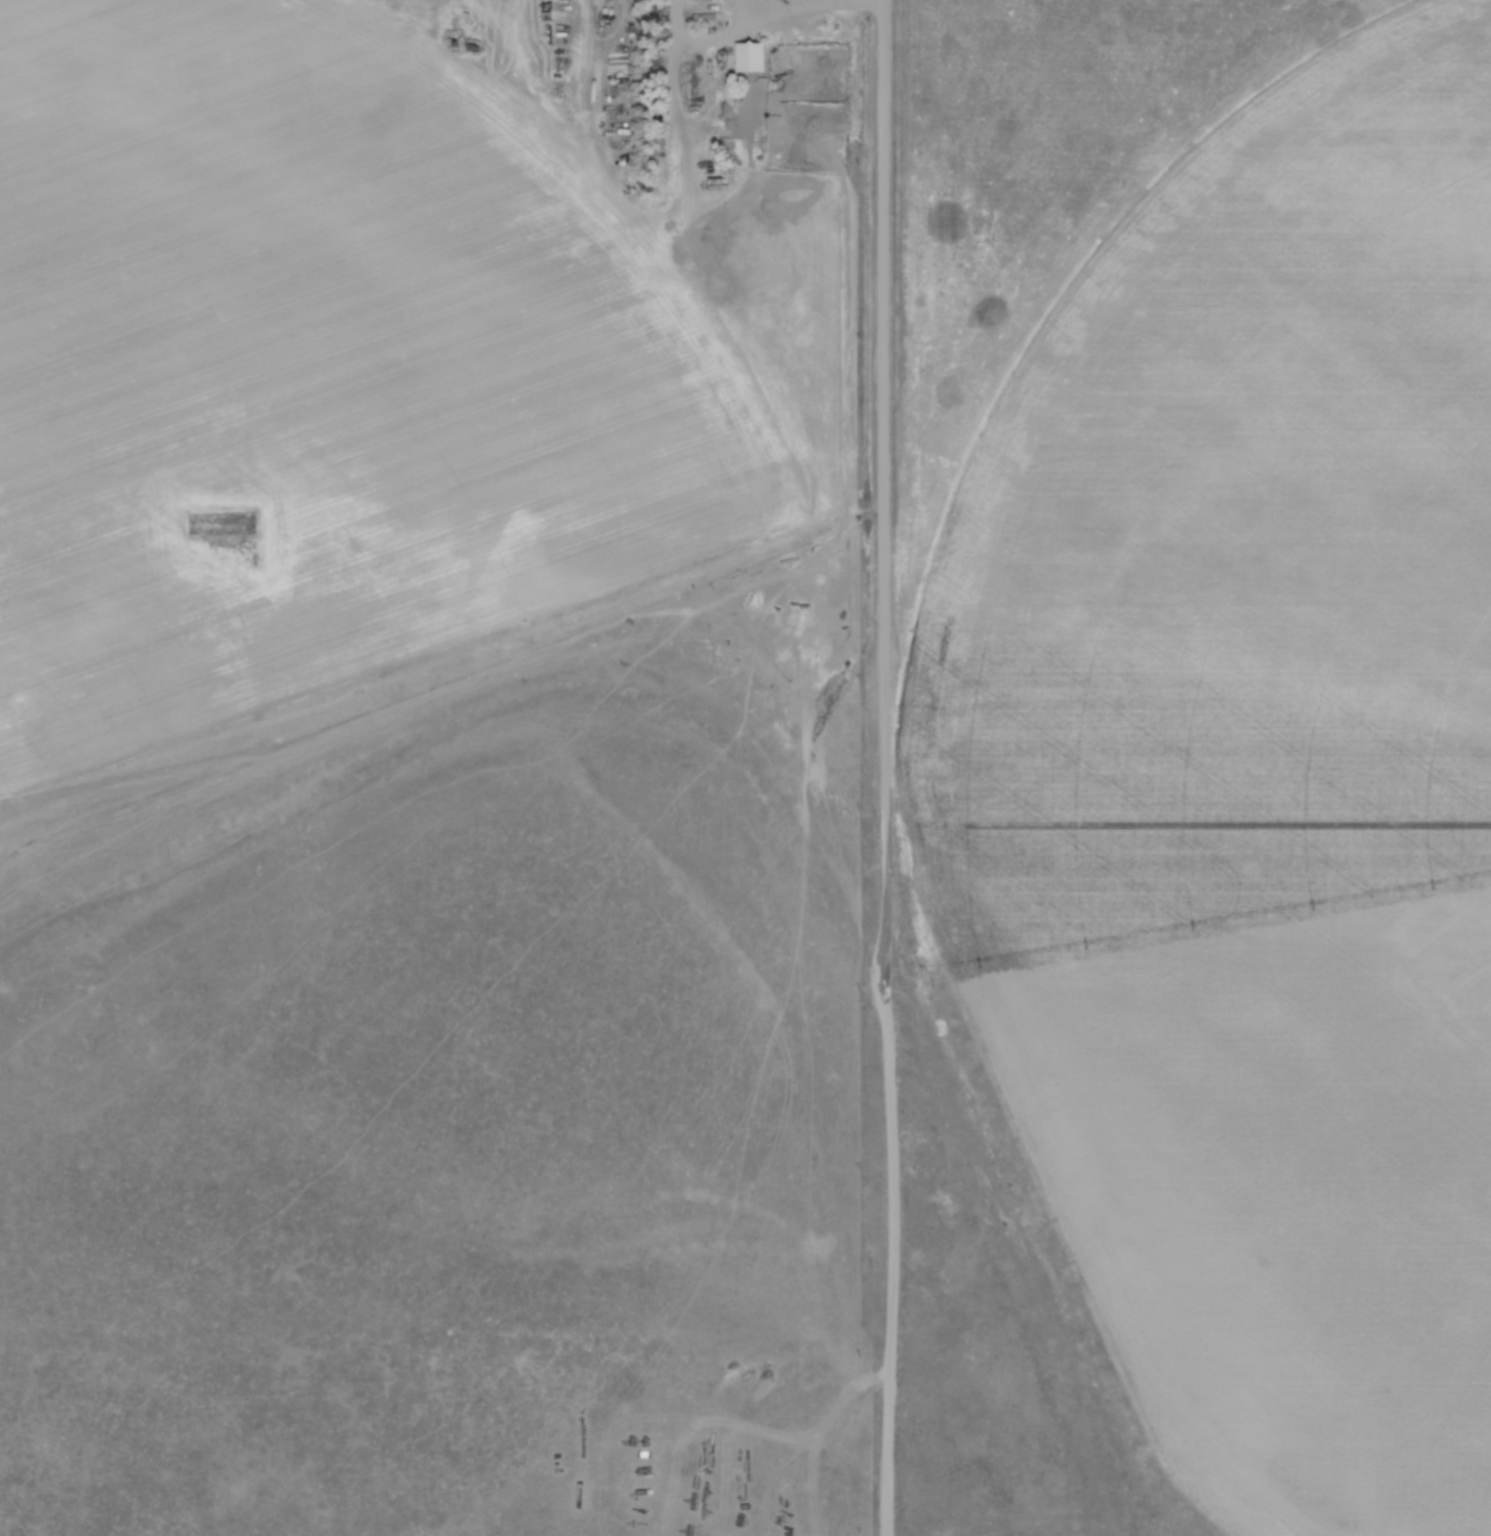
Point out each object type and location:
road: (785, 4)
building: (703, 18)
road: (718, 41)
building: (753, 60)
crop: (320, 374)
road: (888, 768)
crop: (1250, 778)

